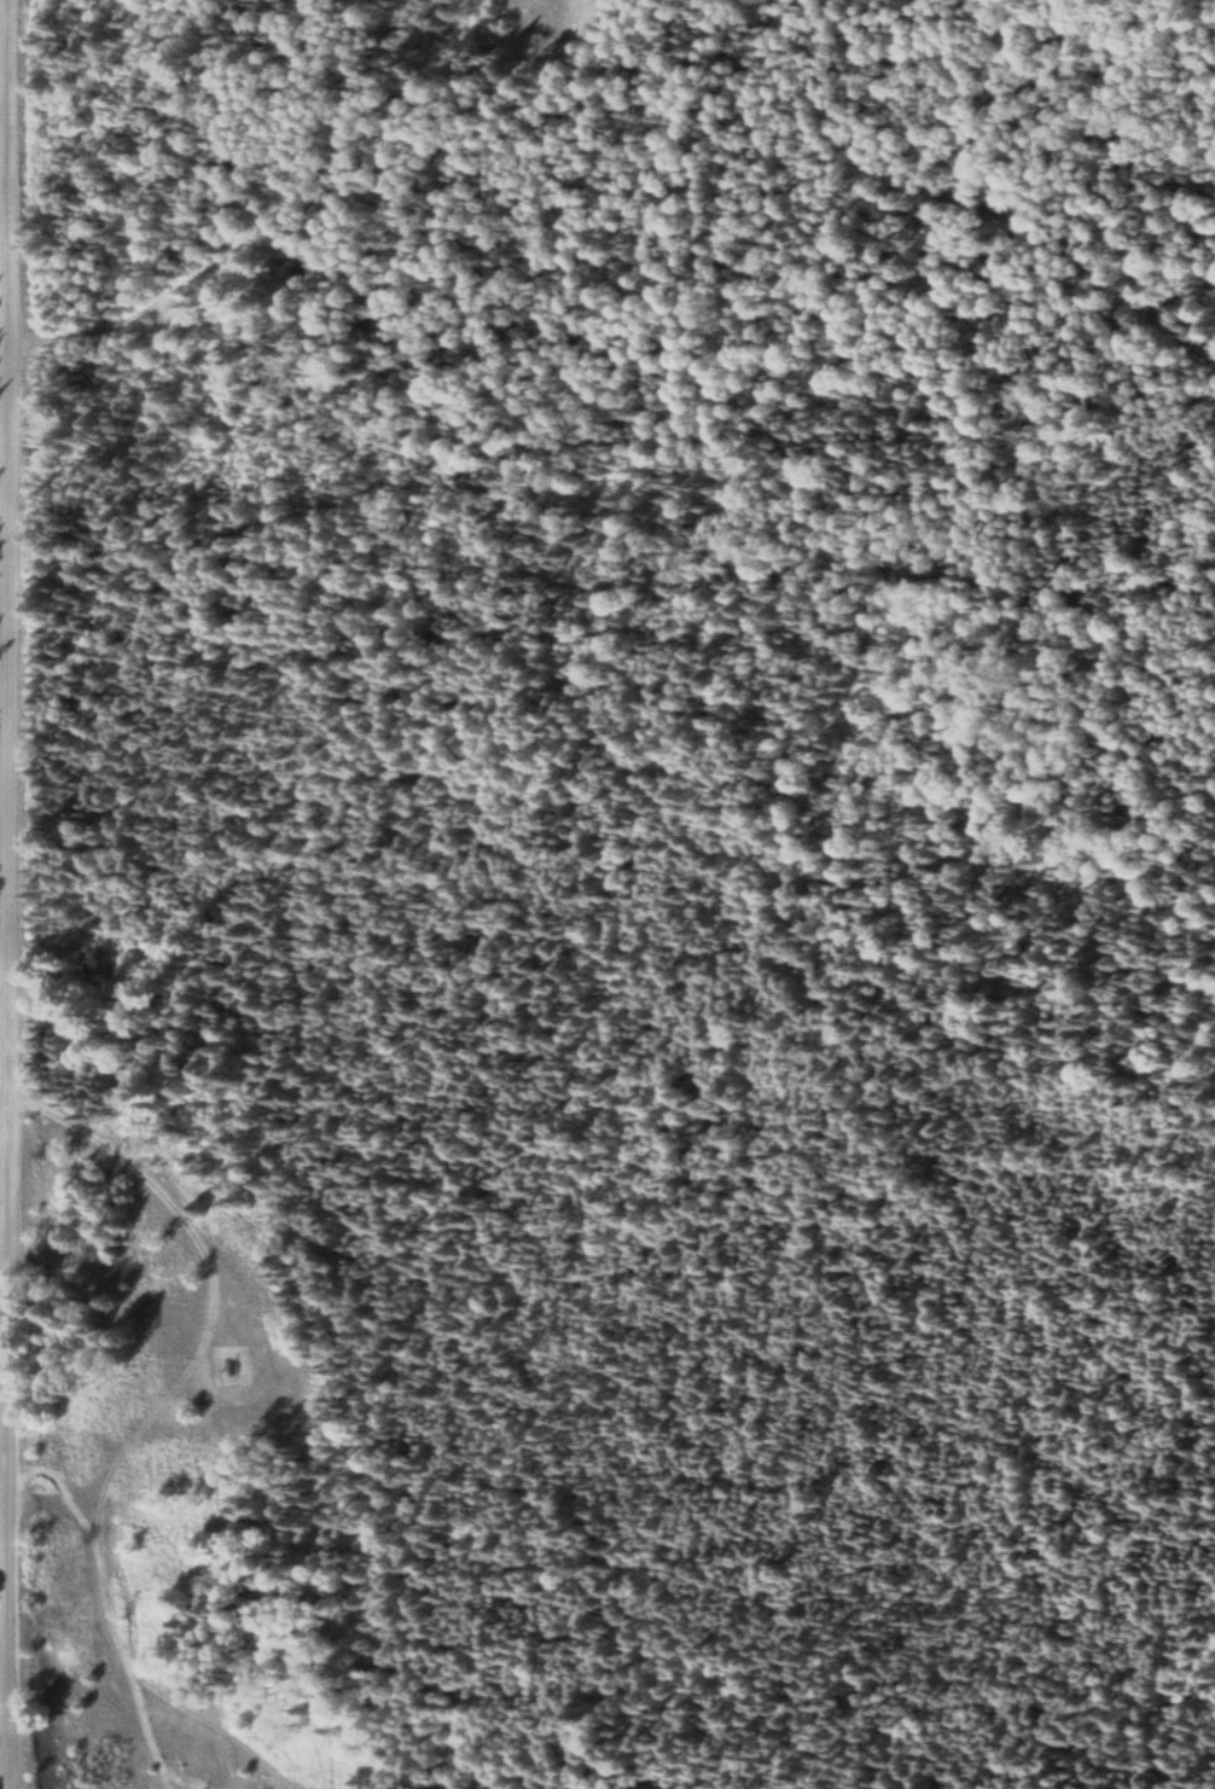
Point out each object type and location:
road: (4, 894)
petroleum well: (232, 1370)

